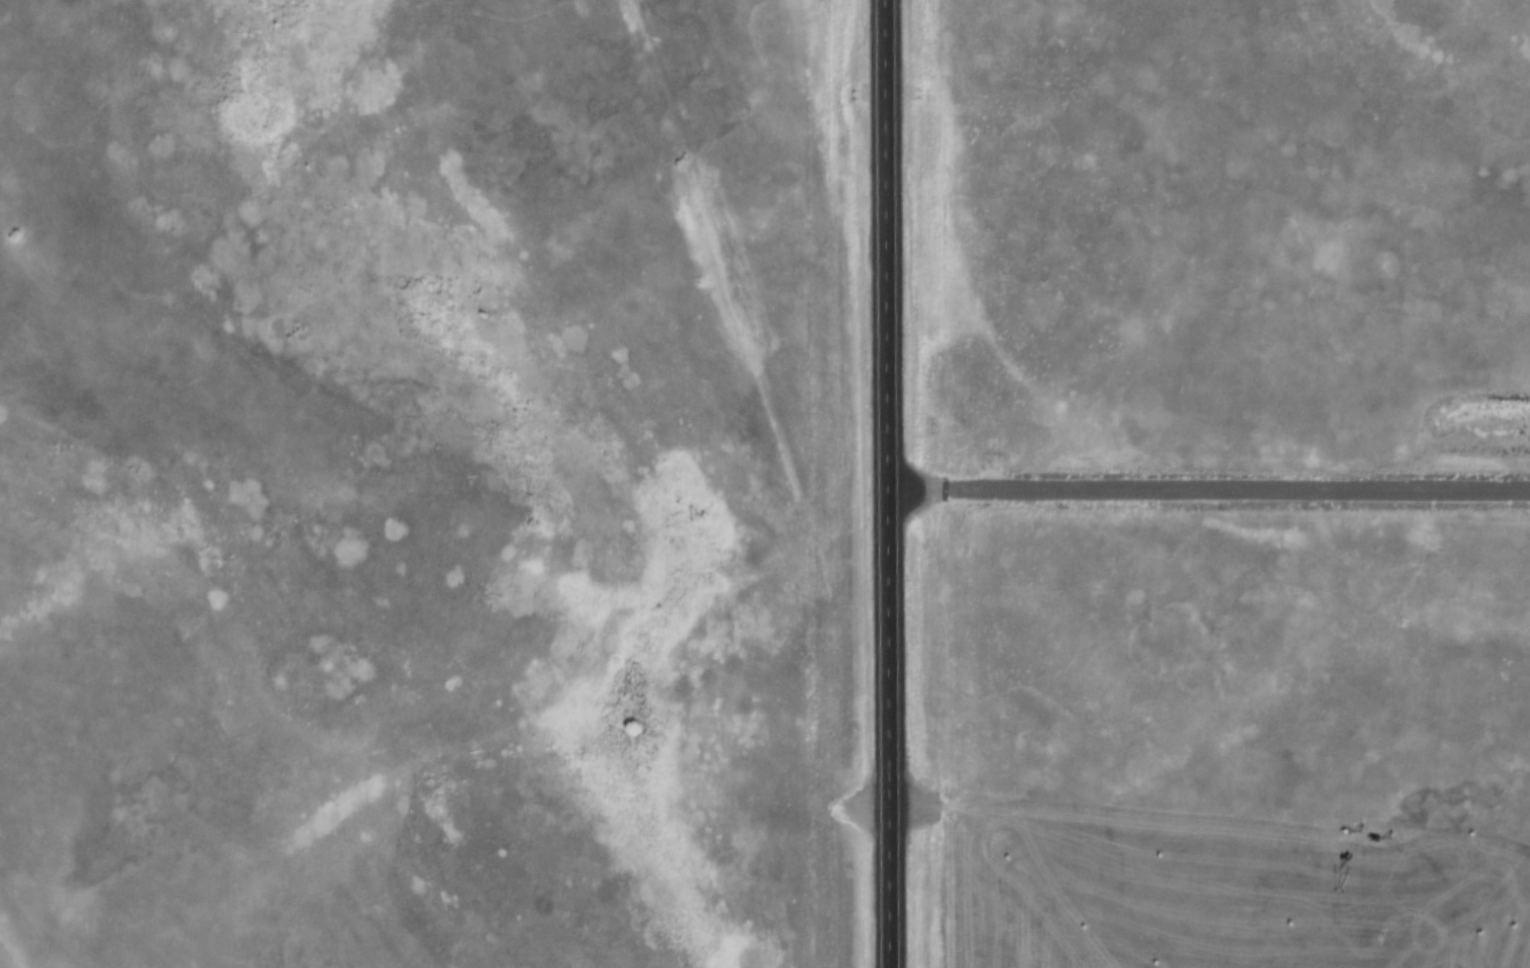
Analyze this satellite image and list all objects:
road: (891, 484)

